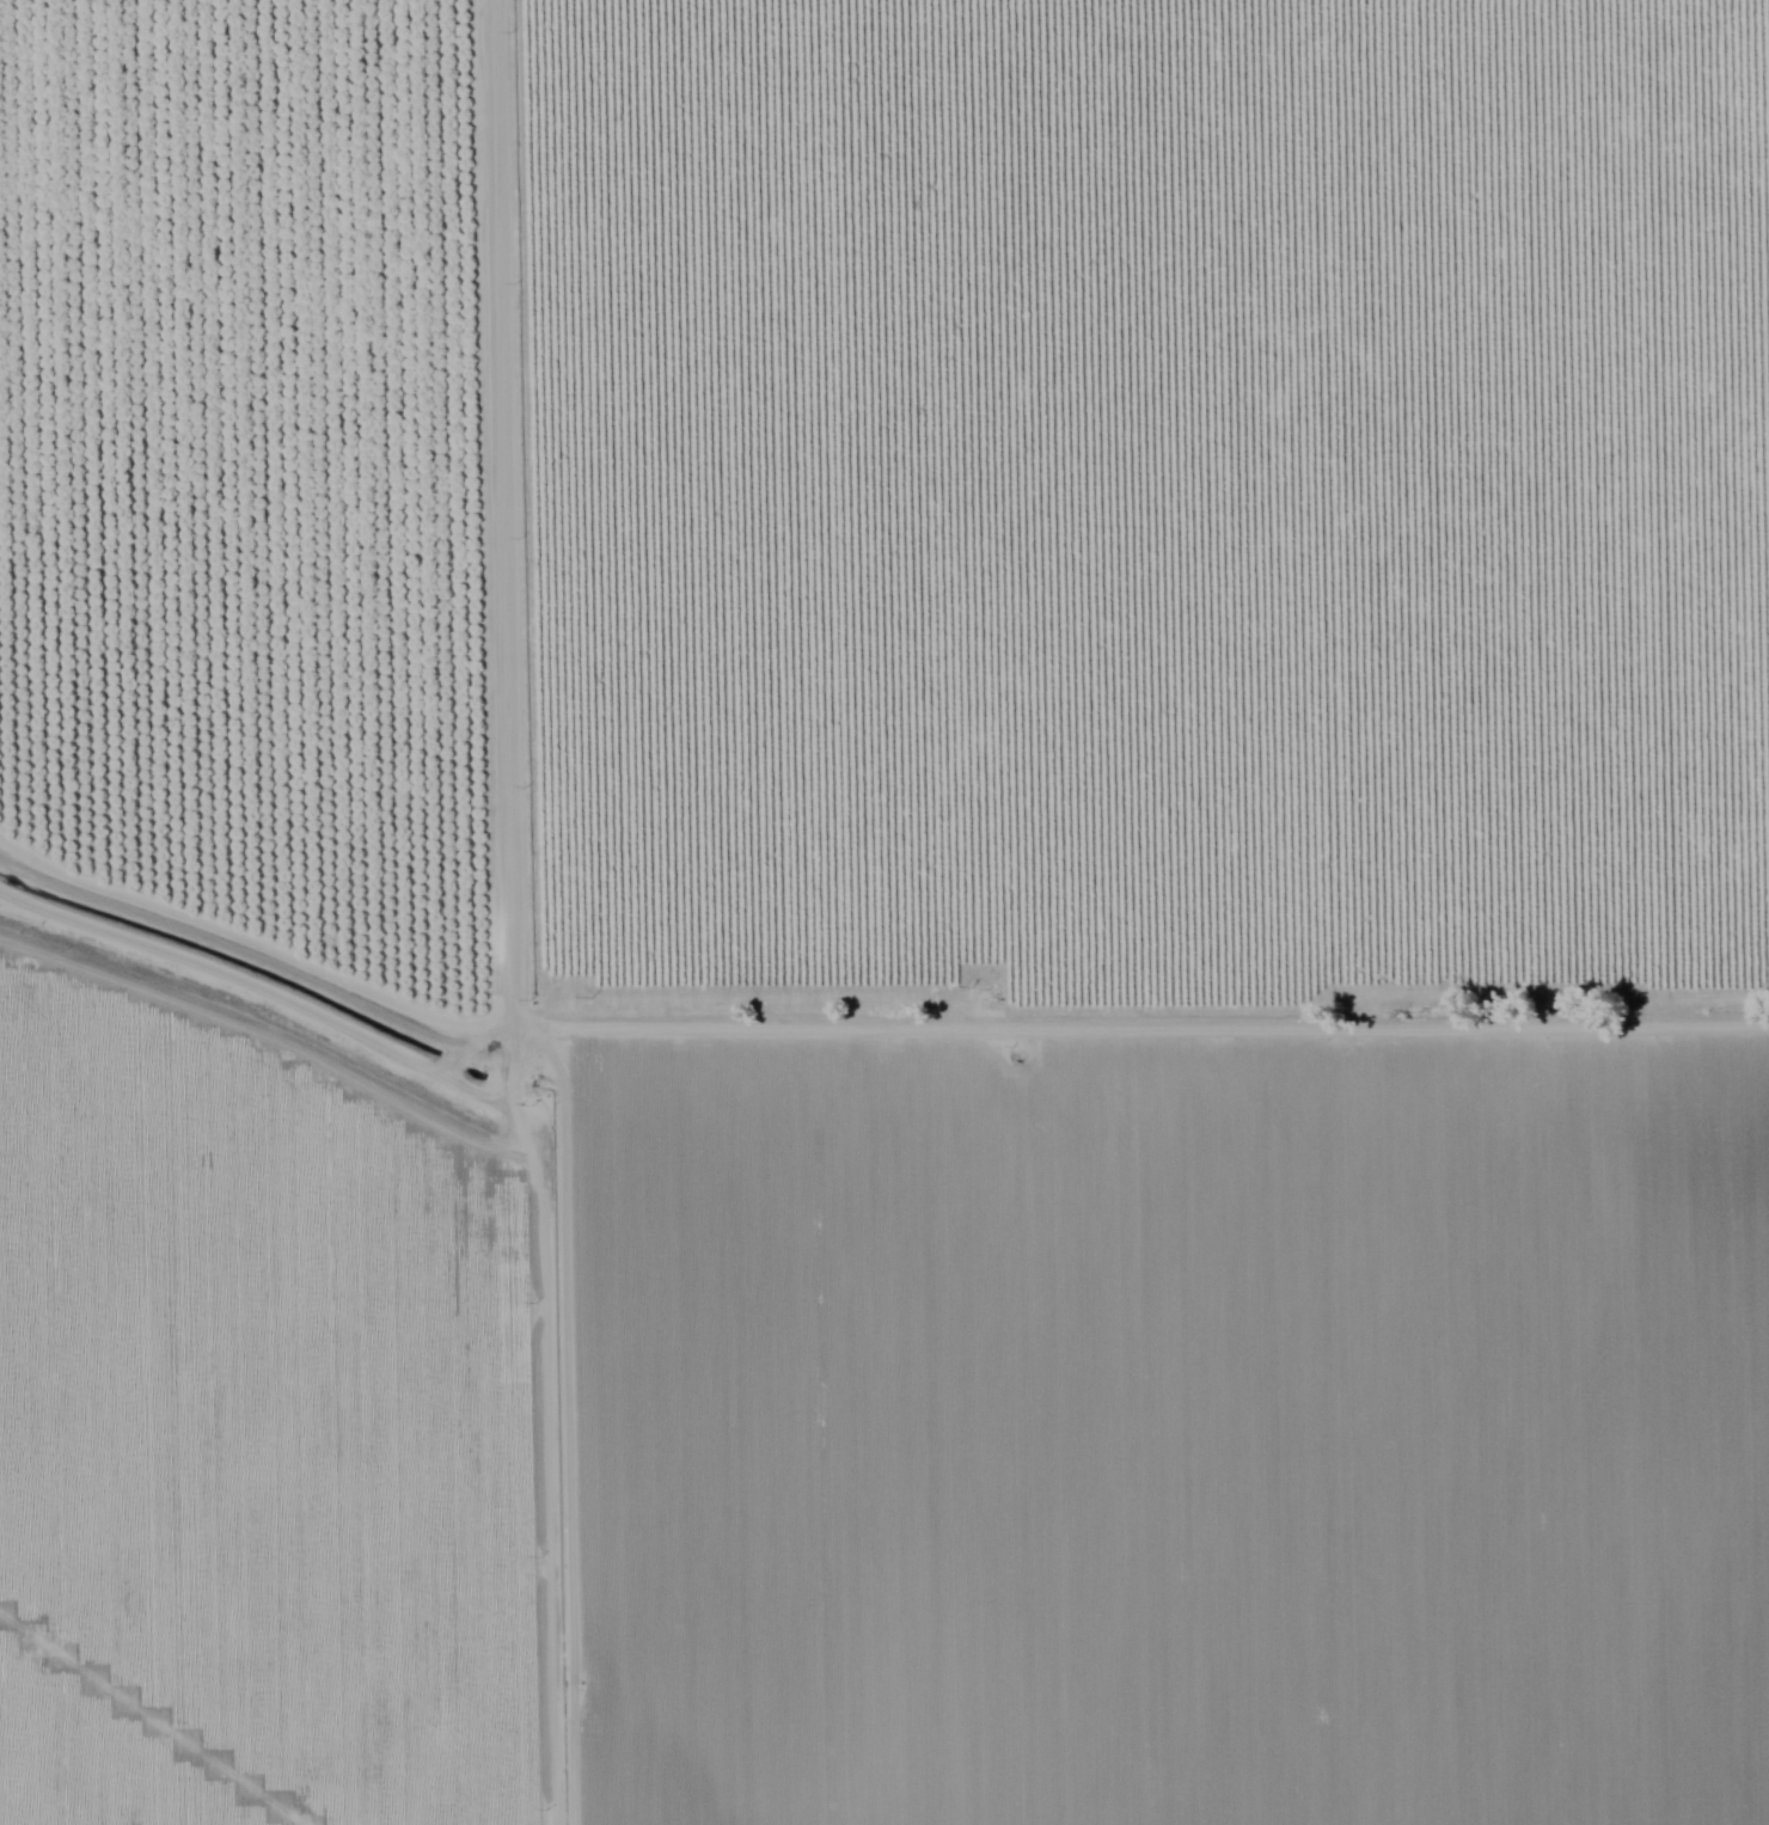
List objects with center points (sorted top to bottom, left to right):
crop: (249, 486)
crop: (256, 1426)
crop: (1168, 1447)

